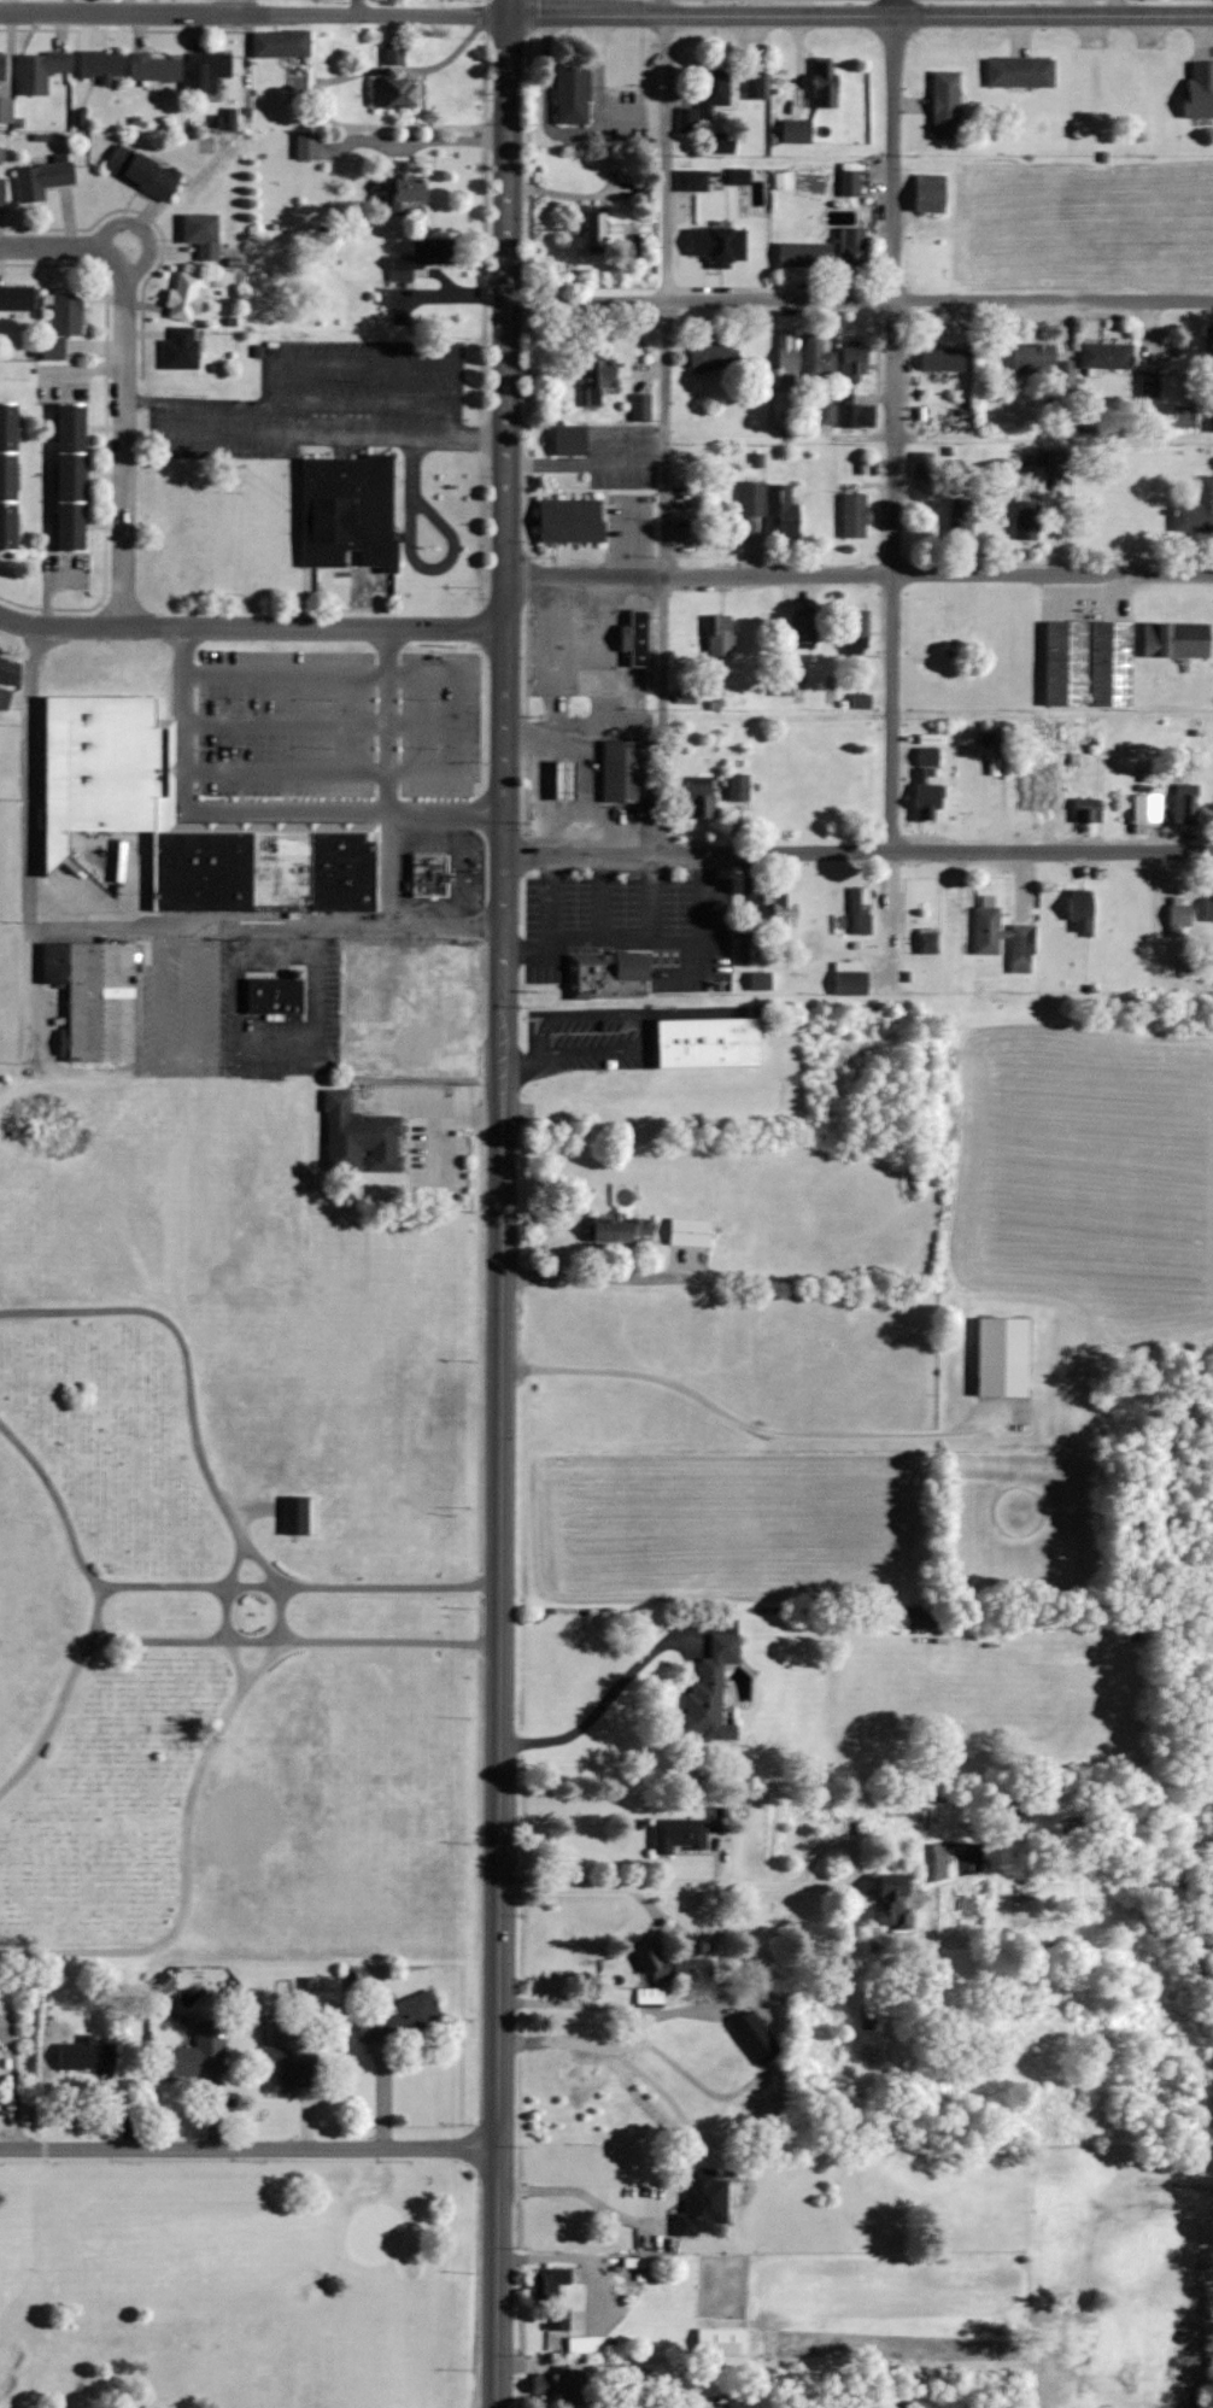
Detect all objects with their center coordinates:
road: (240, 5)
road: (351, 5)
road: (256, 10)
road: (862, 13)
building: (282, 43)
building: (395, 54)
building: (102, 65)
building: (2, 66)
building: (156, 68)
building: (211, 70)
building: (40, 71)
building: (1021, 72)
building: (756, 84)
building: (827, 86)
building: (1201, 89)
building: (715, 92)
building: (574, 93)
building: (402, 94)
building: (948, 105)
building: (6, 110)
building: (798, 131)
road: (660, 148)
building: (143, 171)
building: (43, 180)
building: (693, 181)
building: (851, 183)
building: (412, 188)
building: (2, 192)
building: (931, 193)
building: (597, 230)
building: (204, 233)
road: (55, 244)
building: (720, 245)
building: (855, 247)
building: (805, 254)
building: (421, 258)
building: (187, 294)
building: (17, 297)
road: (860, 297)
building: (69, 314)
building: (1209, 346)
building: (182, 348)
building: (52, 352)
building: (1108, 355)
building: (715, 356)
building: (820, 357)
building: (944, 358)
building: (1036, 358)
building: (787, 362)
building: (855, 362)
building: (602, 379)
building: (1150, 383)
building: (643, 405)
building: (827, 414)
building: (856, 414)
building: (1211, 416)
road: (893, 424)
road: (311, 437)
road: (124, 438)
building: (573, 438)
building: (924, 464)
building: (10, 475)
building: (75, 475)
building: (752, 505)
road: (505, 506)
building: (350, 510)
building: (787, 510)
building: (1196, 510)
building: (856, 516)
building: (573, 520)
building: (962, 521)
building: (1027, 526)
road: (859, 572)
road: (662, 575)
road: (252, 625)
building: (805, 628)
building: (962, 631)
building: (721, 634)
building: (860, 637)
building: (638, 638)
building: (1178, 640)
building: (943, 663)
building: (1090, 663)
building: (10, 670)
building: (862, 701)
road: (468, 722)
road: (326, 723)
building: (623, 769)
building: (111, 771)
road: (387, 777)
building: (568, 778)
building: (930, 784)
building: (740, 786)
building: (703, 796)
building: (1038, 799)
building: (1186, 804)
building: (1148, 807)
building: (1212, 808)
road: (254, 809)
building: (1090, 809)
road: (859, 849)
building: (430, 875)
road: (561, 896)
road: (662, 896)
road: (609, 897)
building: (1209, 903)
building: (861, 912)
road: (891, 912)
building: (1083, 912)
building: (784, 915)
building: (1180, 916)
road: (115, 925)
road: (644, 941)
building: (927, 942)
building: (988, 945)
building: (749, 951)
building: (611, 977)
building: (852, 978)
building: (762, 980)
building: (276, 996)
building: (96, 998)
building: (457, 1009)
building: (711, 1042)
road: (435, 1119)
building: (362, 1138)
building: (623, 1229)
building: (692, 1231)
building: (1006, 1357)
road: (757, 1428)
building: (297, 1516)
park: (230, 1540)
road: (299, 1586)
road: (95, 1606)
road: (227, 1610)
building: (922, 1618)
road: (281, 1630)
road: (295, 1642)
building: (713, 1692)
road: (608, 1699)
road: (500, 1711)
building: (680, 1835)
road: (731, 1888)
building: (897, 1906)
building: (675, 1967)
building: (650, 1996)
road: (609, 2012)
building: (400, 2019)
building: (758, 2038)
building: (200, 2052)
building: (88, 2053)
building: (291, 2069)
building: (563, 2069)
road: (12, 2085)
road: (248, 2148)
road: (575, 2198)
building: (704, 2205)
road: (572, 2257)
park: (239, 2283)
building: (546, 2285)
building: (732, 2342)
building: (561, 2384)

